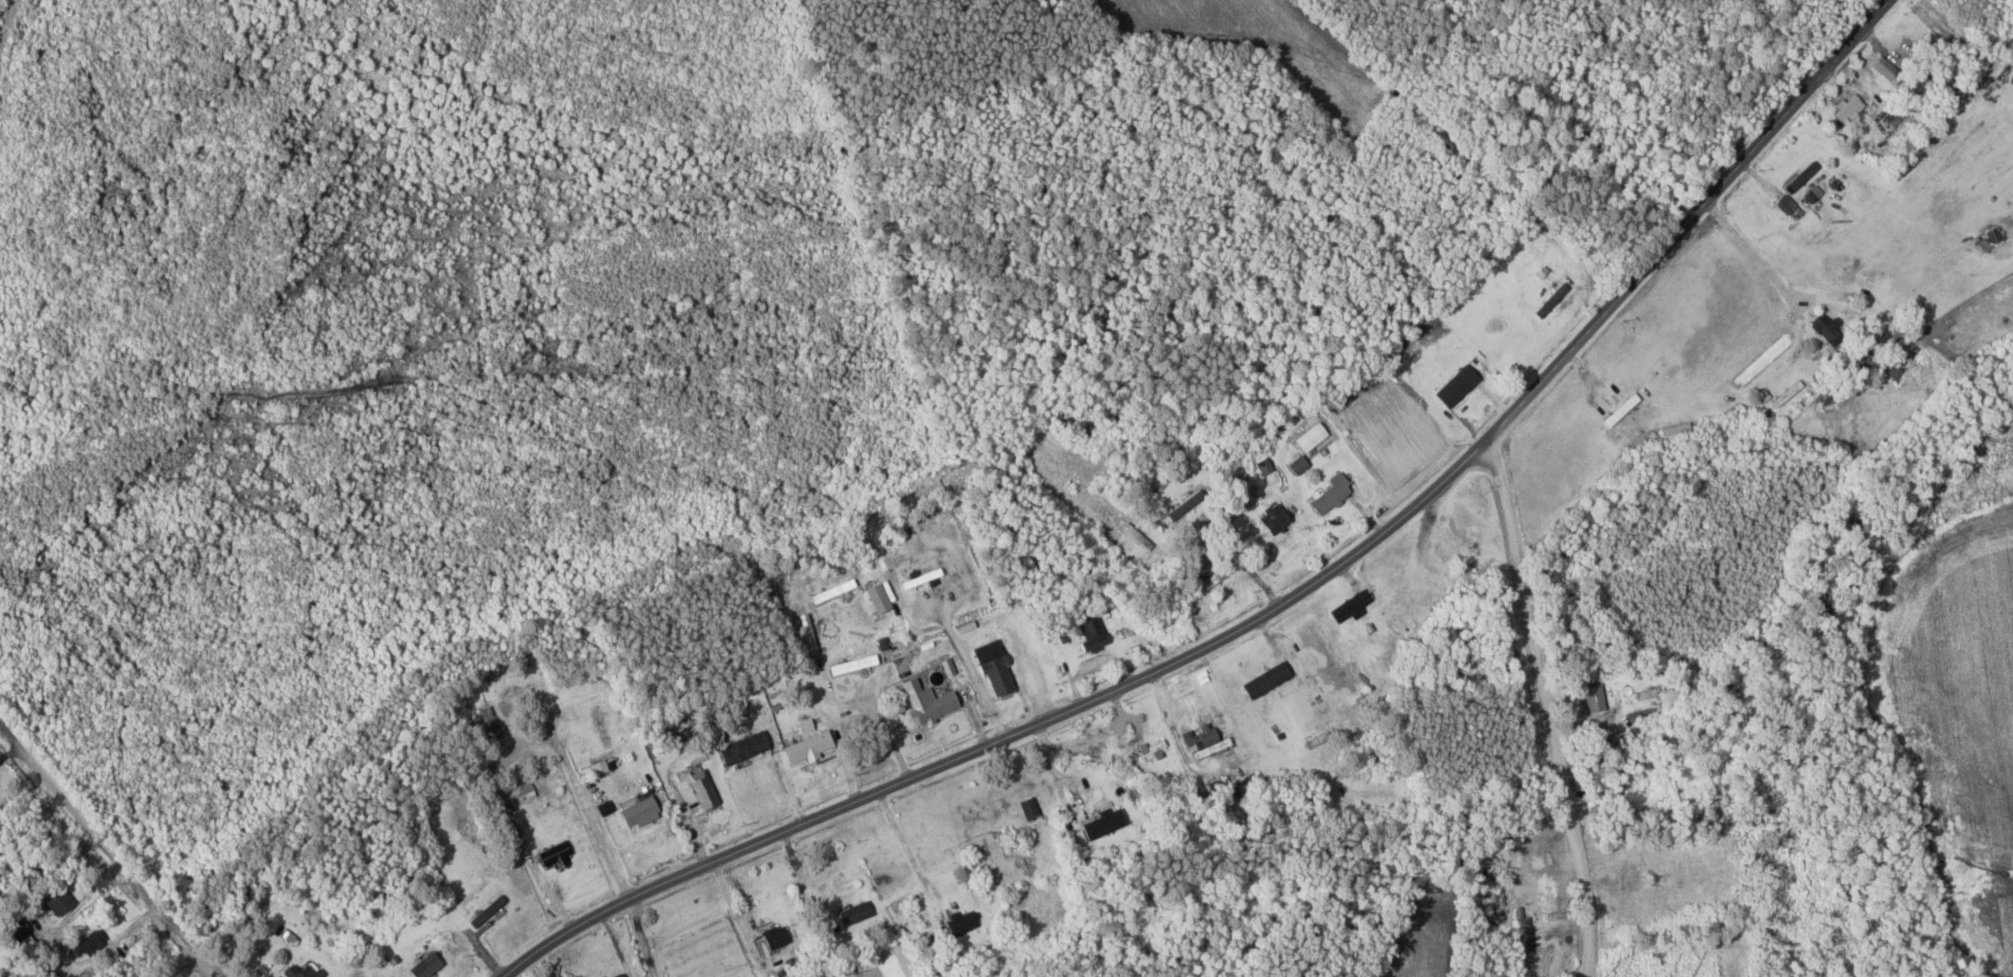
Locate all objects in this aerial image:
road: (1277, 605)
road: (1547, 707)
road: (581, 796)
road: (108, 853)

